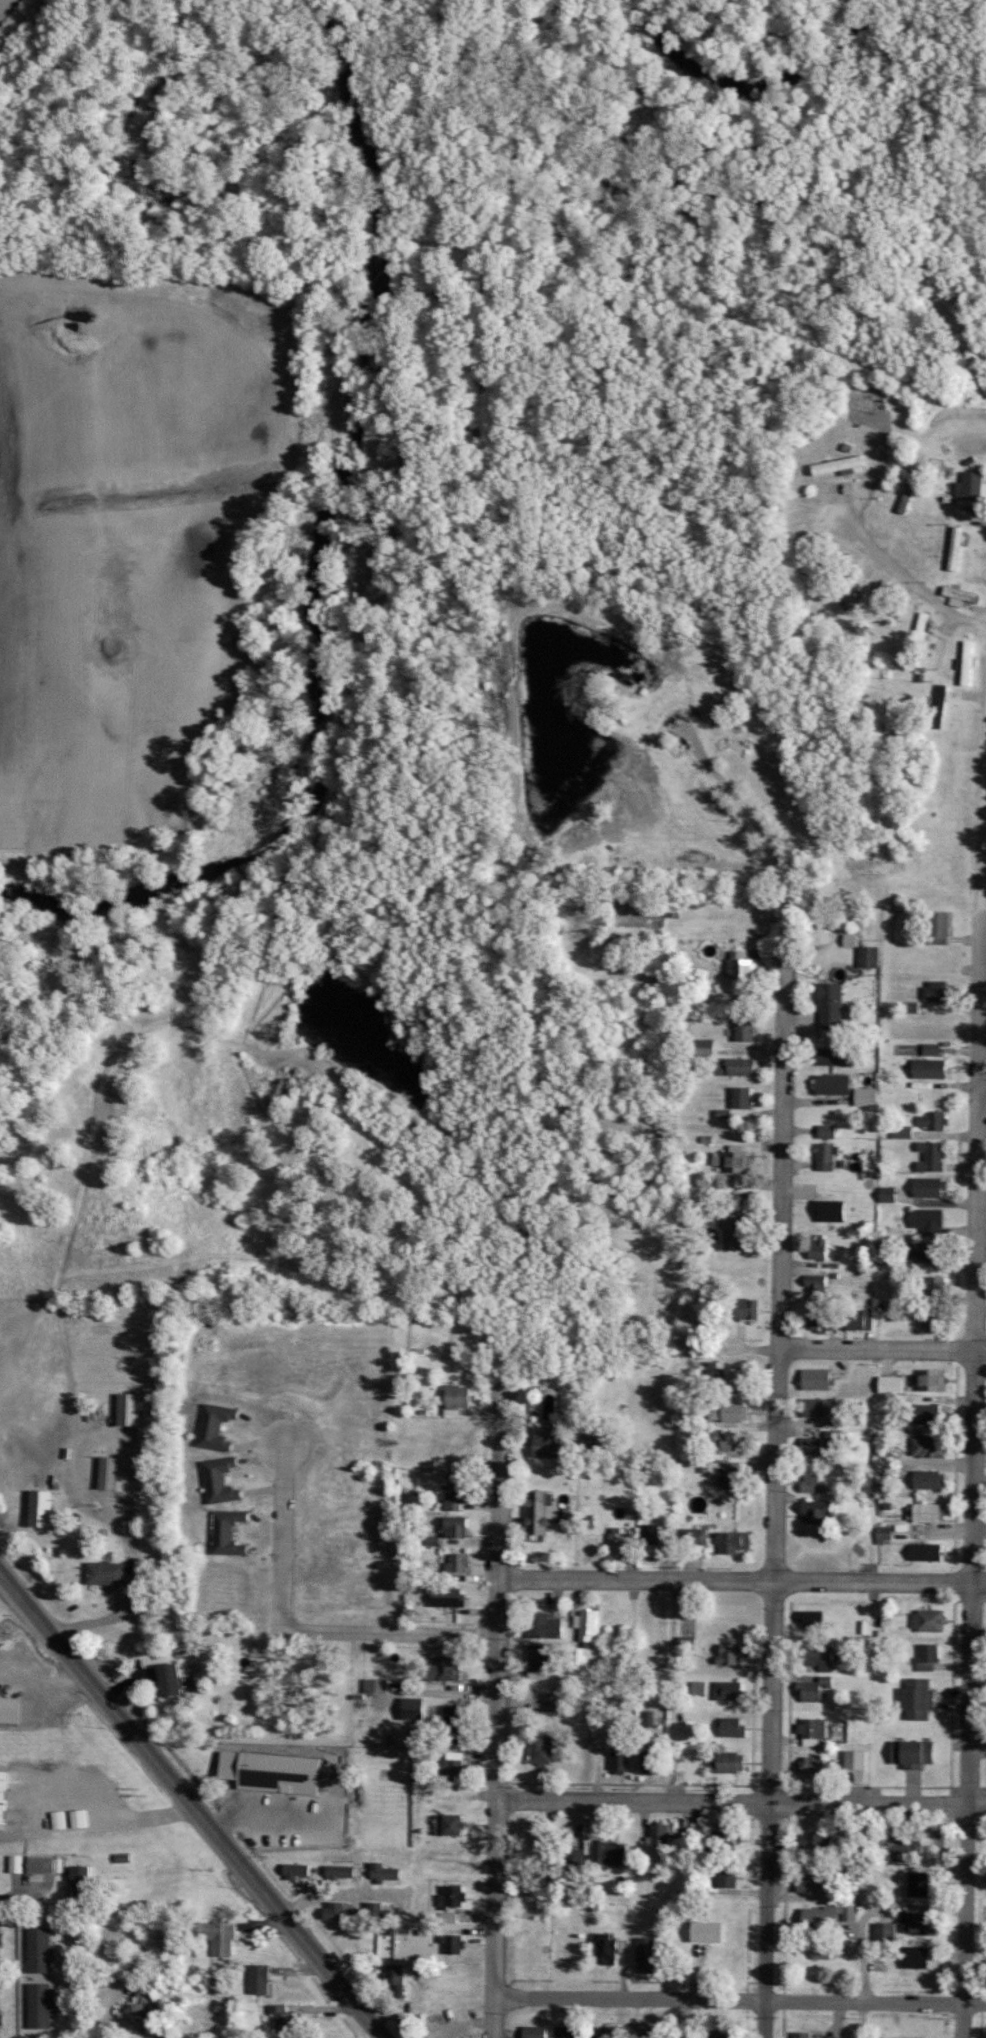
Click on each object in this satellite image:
building: (842, 466)
building: (970, 486)
building: (957, 548)
road: (900, 574)
building: (961, 596)
building: (922, 618)
building: (968, 663)
building: (941, 697)
building: (934, 927)
building: (869, 956)
building: (742, 965)
building: (933, 989)
building: (833, 1005)
building: (908, 1006)
building: (746, 1030)
building: (928, 1049)
building: (837, 1056)
building: (740, 1067)
building: (925, 1067)
building: (834, 1084)
road: (982, 1091)
building: (867, 1096)
building: (743, 1097)
building: (930, 1120)
building: (829, 1131)
building: (901, 1131)
building: (927, 1156)
building: (826, 1157)
building: (930, 1186)
building: (889, 1194)
building: (736, 1201)
building: (832, 1210)
building: (930, 1220)
building: (734, 1231)
building: (820, 1248)
building: (928, 1251)
building: (818, 1285)
building: (937, 1288)
road: (782, 1294)
building: (746, 1308)
building: (934, 1316)
building: (860, 1319)
building: (821, 1320)
road: (883, 1350)
building: (734, 1377)
building: (818, 1378)
building: (932, 1379)
building: (893, 1384)
road: (975, 1385)
building: (460, 1399)
building: (816, 1406)
building: (128, 1408)
building: (730, 1411)
building: (928, 1413)
building: (217, 1426)
road: (96, 1439)
building: (729, 1440)
building: (822, 1444)
building: (554, 1445)
building: (929, 1446)
building: (109, 1472)
building: (731, 1477)
building: (930, 1479)
building: (222, 1480)
building: (814, 1484)
building: (459, 1490)
building: (44, 1507)
building: (542, 1510)
building: (818, 1511)
building: (925, 1512)
building: (456, 1527)
building: (229, 1532)
building: (651, 1533)
building: (693, 1536)
road: (279, 1537)
building: (735, 1540)
building: (620, 1543)
building: (927, 1551)
building: (460, 1562)
building: (107, 1573)
road: (742, 1582)
building: (451, 1596)
road: (122, 1611)
building: (814, 1619)
building: (928, 1620)
building: (587, 1624)
building: (546, 1625)
road: (390, 1634)
building: (688, 1643)
building: (731, 1653)
building: (927, 1657)
building: (540, 1661)
building: (447, 1668)
building: (171, 1679)
building: (376, 1684)
building: (699, 1688)
building: (815, 1689)
building: (731, 1690)
building: (921, 1698)
building: (554, 1702)
building: (414, 1707)
building: (10, 1709)
road: (497, 1711)
building: (454, 1716)
building: (735, 1727)
building: (813, 1730)
building: (542, 1748)
building: (916, 1753)
building: (856, 1759)
building: (621, 1761)
building: (650, 1761)
building: (730, 1762)
building: (816, 1764)
building: (275, 1771)
building: (4, 1796)
road: (741, 1799)
road: (190, 1807)
building: (79, 1818)
building: (59, 1819)
building: (454, 1824)
building: (659, 1833)
building: (544, 1840)
building: (724, 1840)
building: (817, 1842)
building: (909, 1849)
building: (610, 1853)
building: (18, 1863)
building: (46, 1864)
building: (296, 1870)
building: (340, 1871)
building: (385, 1872)
building: (728, 1875)
building: (82, 1882)
building: (812, 1882)
building: (921, 1884)
building: (454, 1896)
road: (18, 1900)
road: (383, 1900)
building: (340, 1910)
building: (373, 1911)
building: (828, 1917)
building: (920, 1922)
building: (886, 1931)
building: (710, 1932)
building: (219, 1936)
building: (1, 1937)
building: (453, 1943)
building: (40, 1949)
building: (608, 1949)
building: (823, 1951)
building: (647, 1954)
building: (917, 1956)
building: (397, 1977)
building: (260, 1978)
road: (738, 2000)
building: (39, 2005)
building: (143, 2010)
road: (109, 2015)
building: (279, 2017)
building: (1, 2019)
building: (534, 2032)
building: (565, 2032)
building: (647, 2033)
building: (722, 2033)
building: (681, 2034)
building: (801, 2034)
building: (893, 2037)

